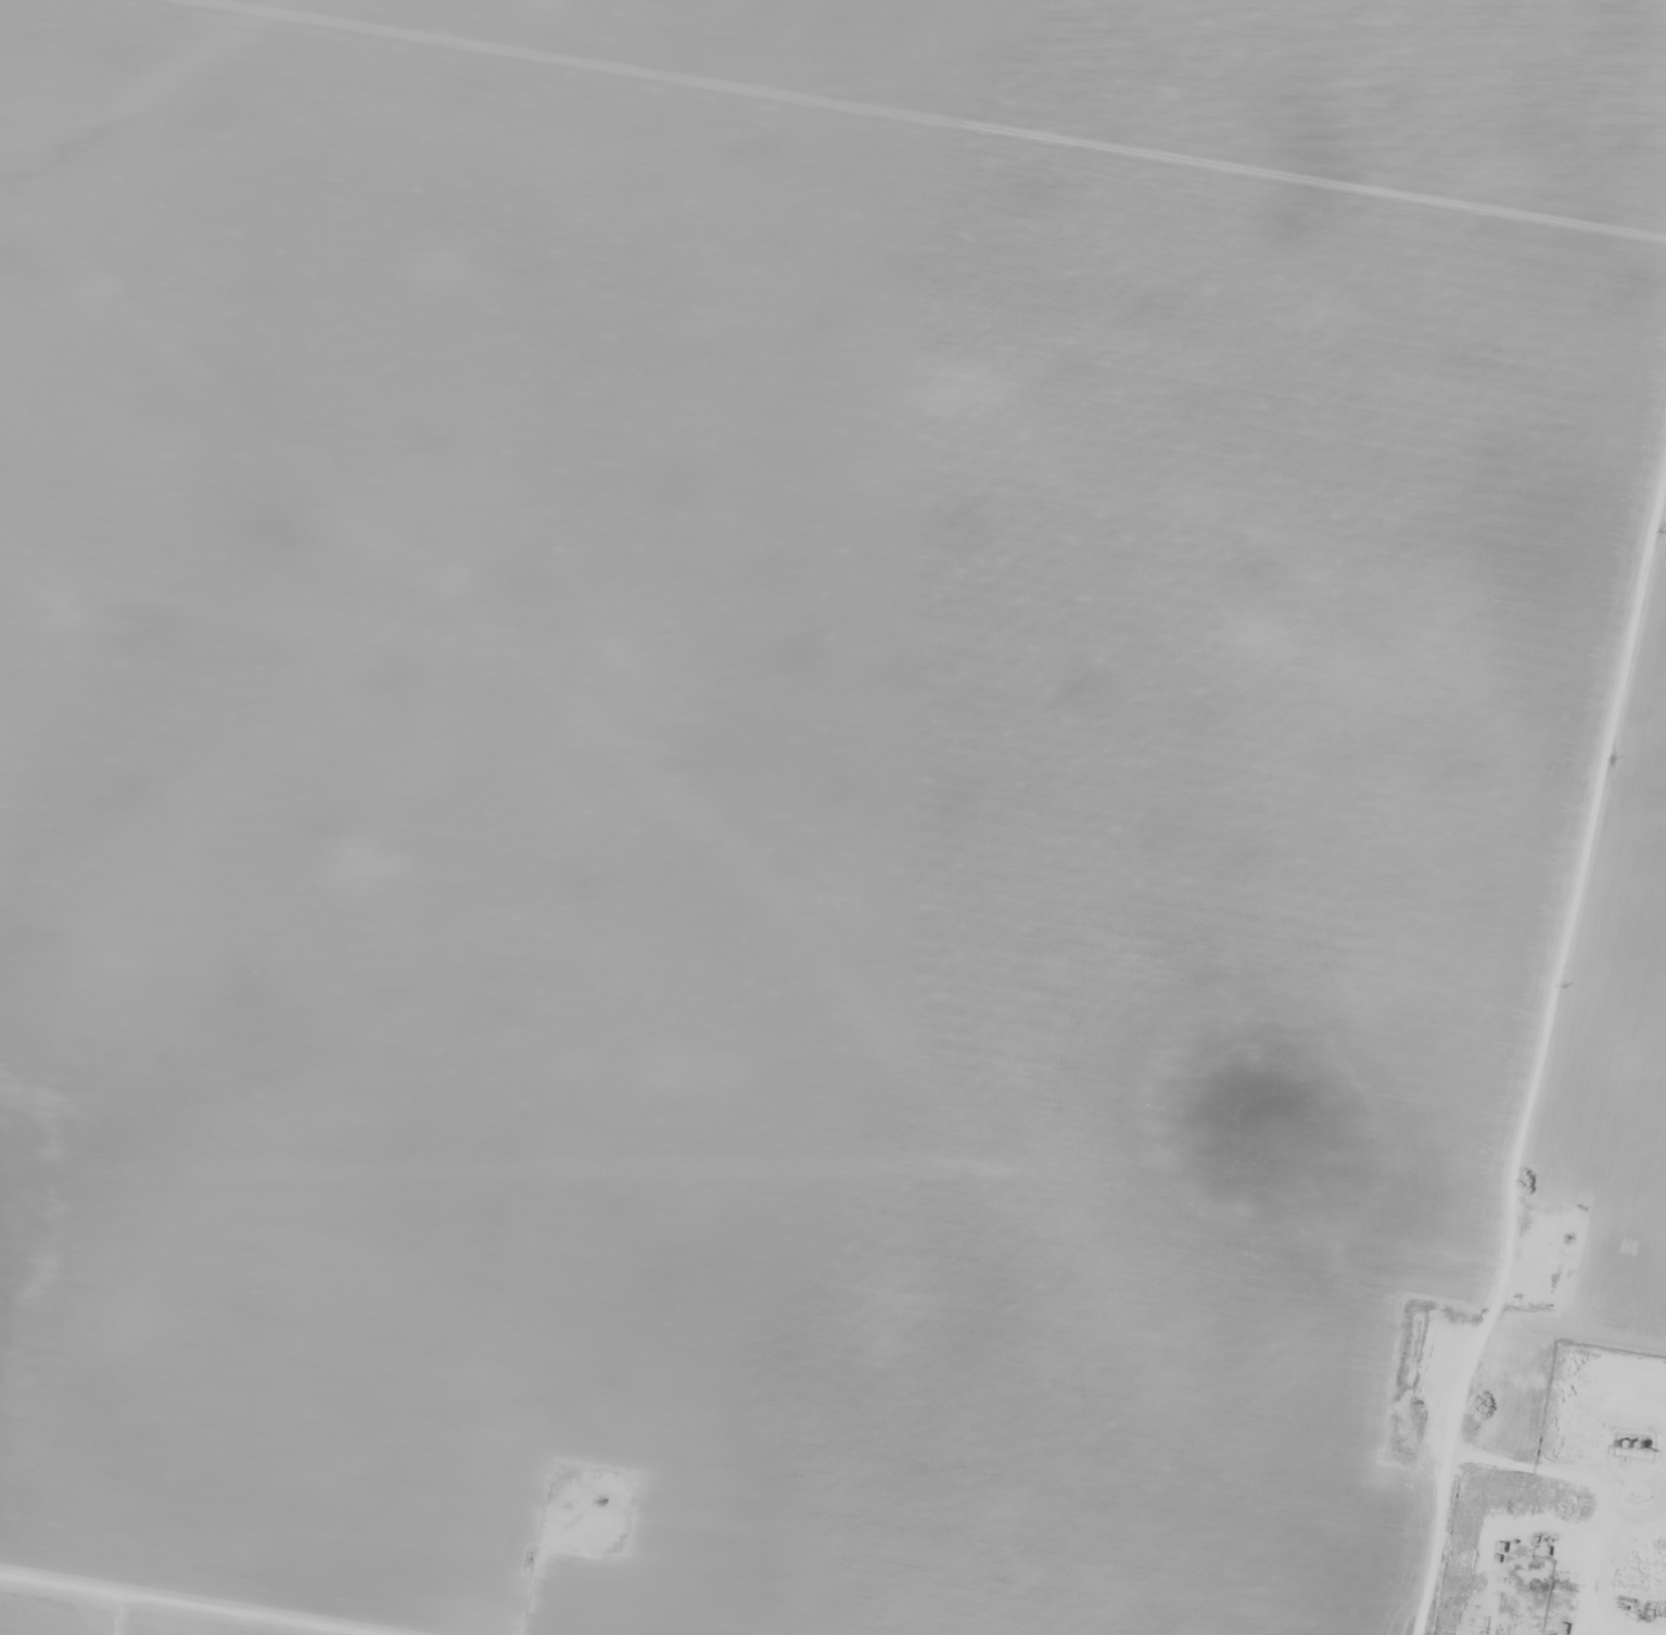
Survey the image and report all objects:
building: (722, 1471)
road: (141, 1610)

